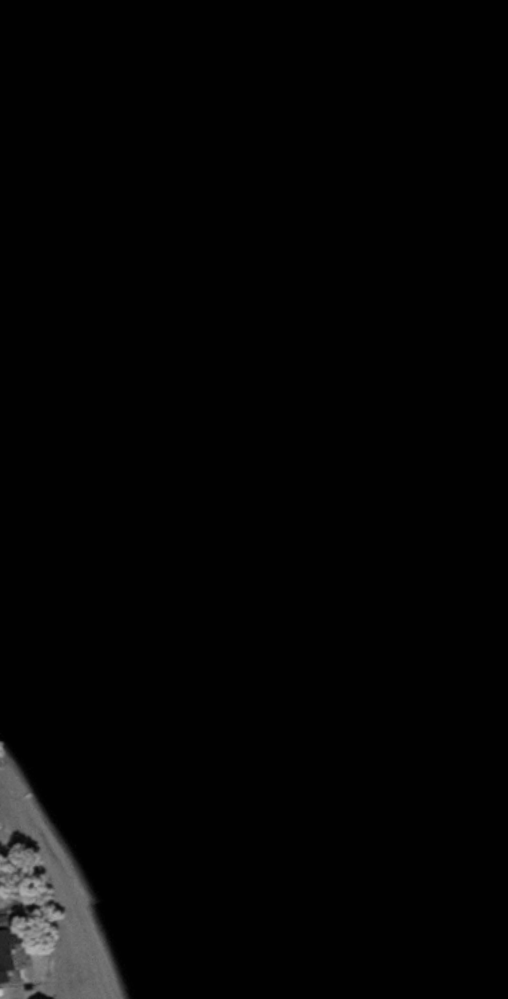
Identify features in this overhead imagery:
building: (15, 936)

